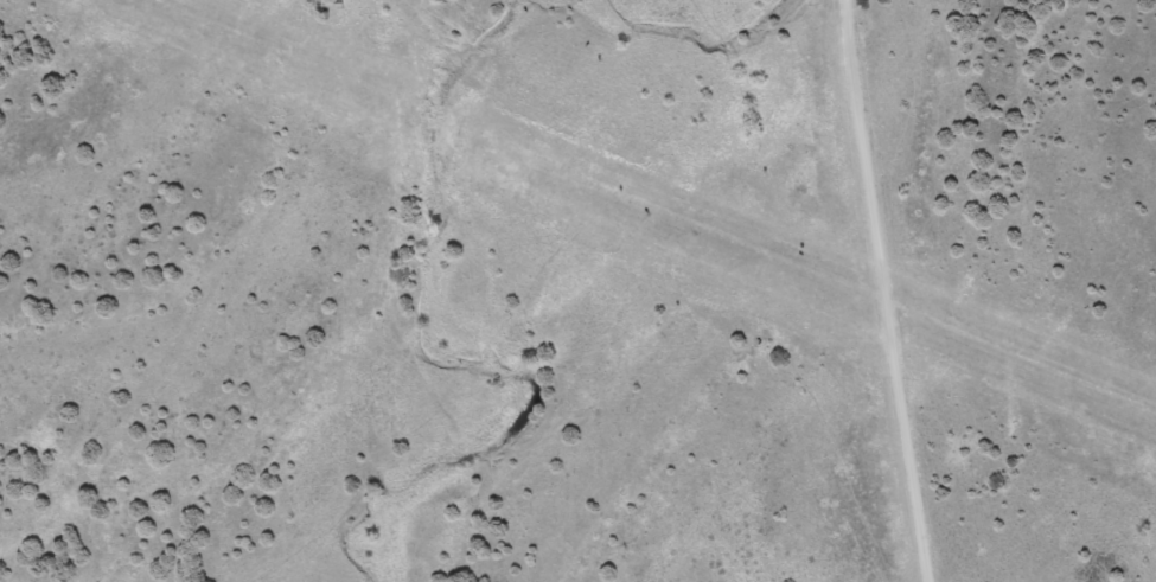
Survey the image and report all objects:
road: (879, 290)

